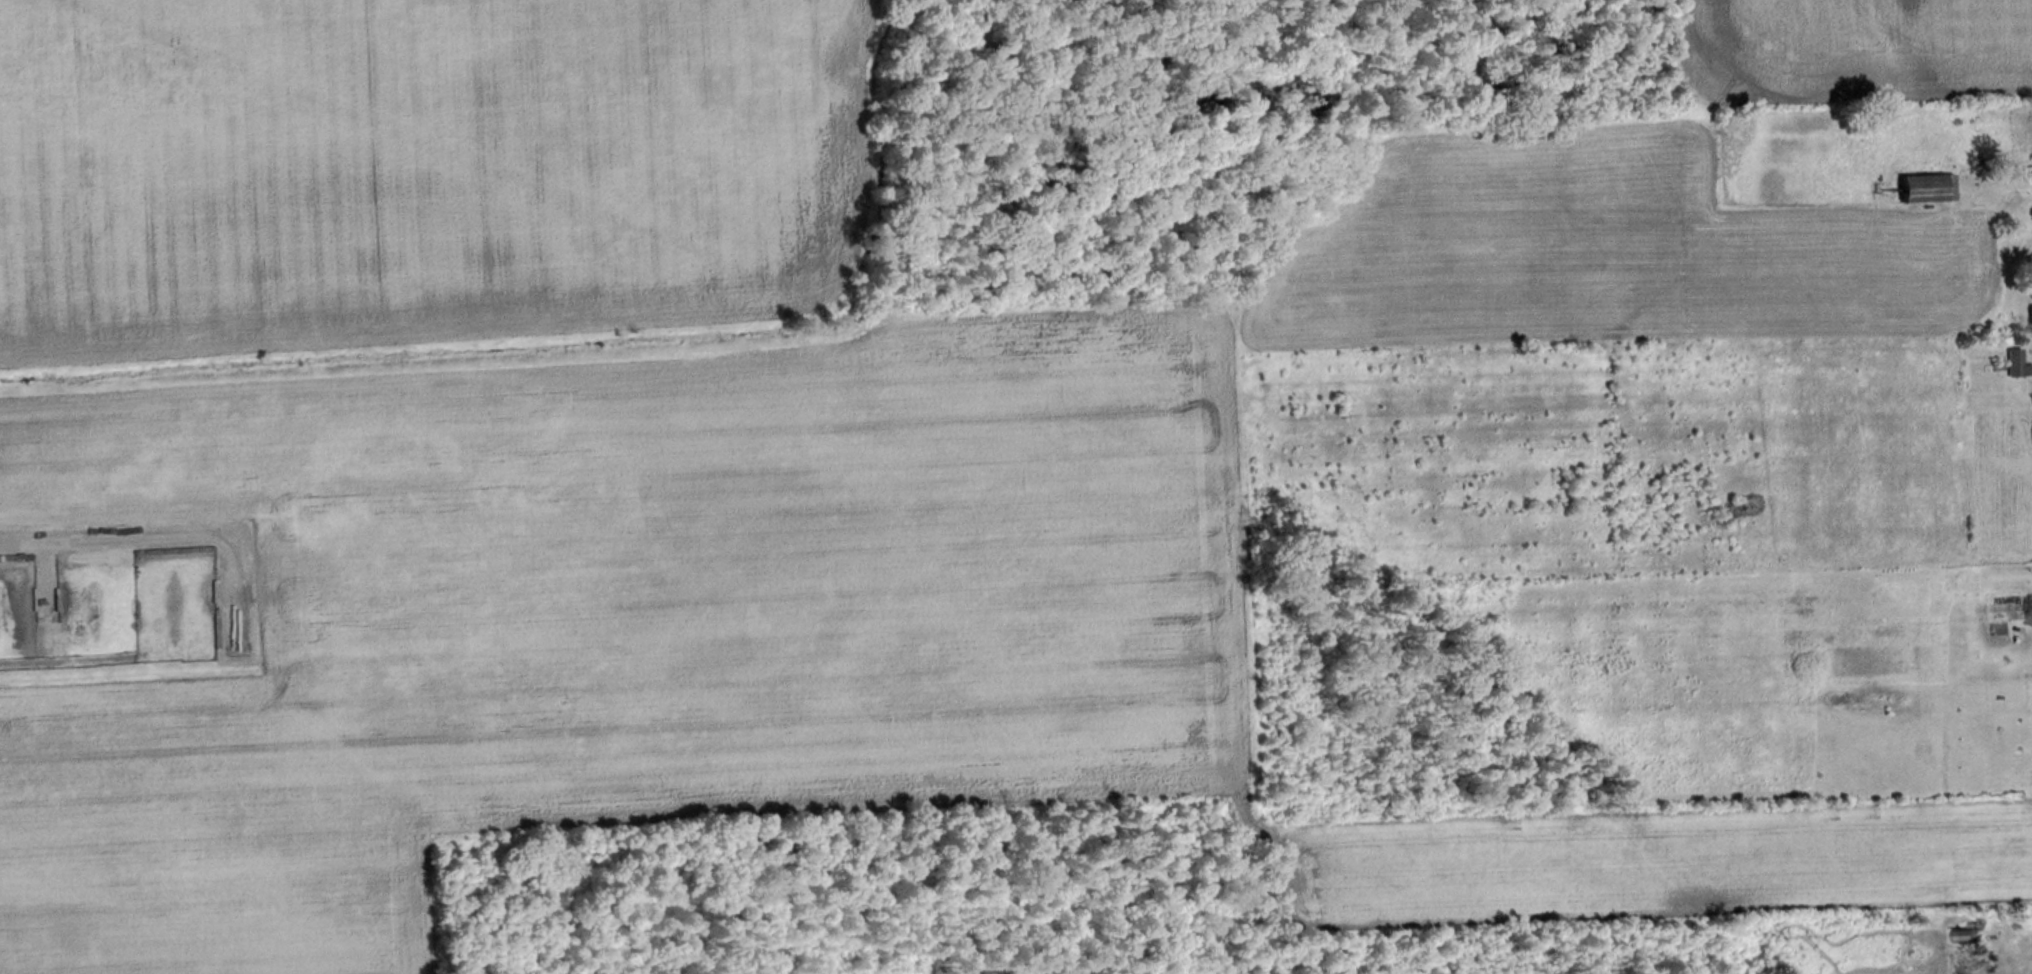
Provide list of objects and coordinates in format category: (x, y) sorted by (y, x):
building: (1927, 191)
building: (2018, 367)
road: (149, 527)
building: (2004, 611)
building: (1967, 939)

